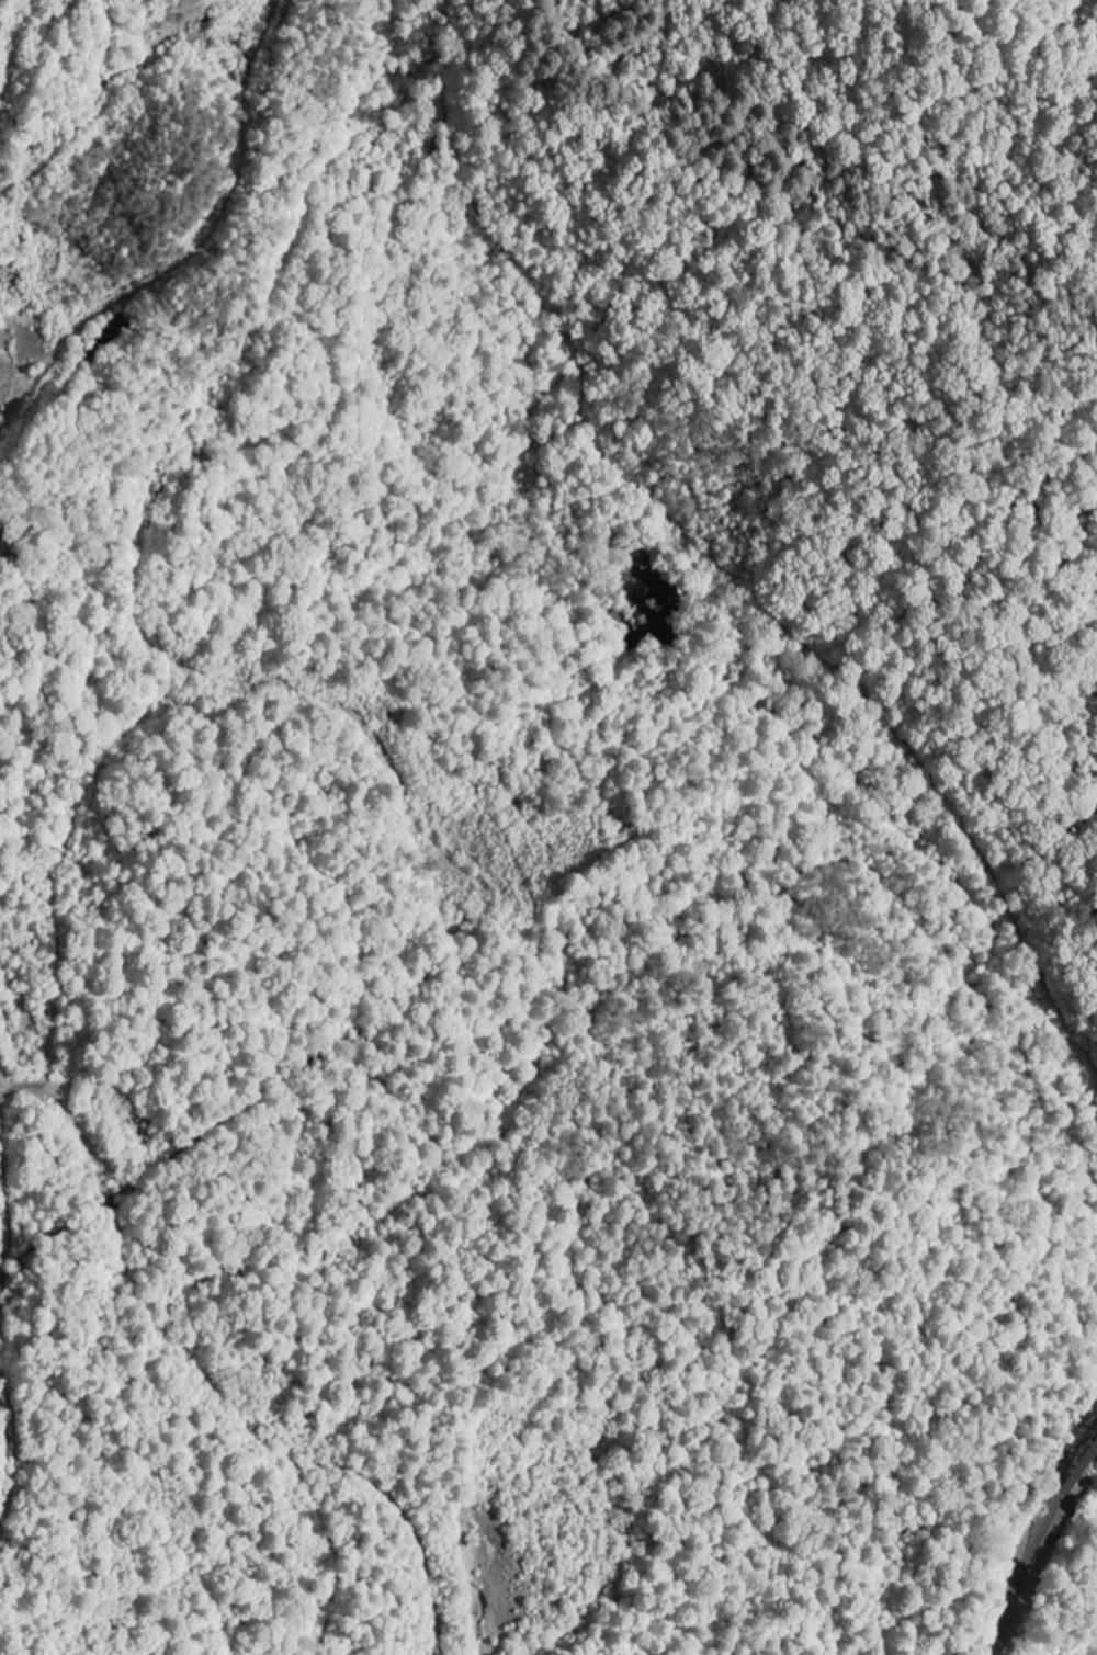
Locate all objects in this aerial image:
road: (245, 138)
road: (1, 1090)
road: (0, 1313)
road: (151, 1316)
road: (15, 1438)
railway: (1078, 1464)
railway: (1024, 1571)

